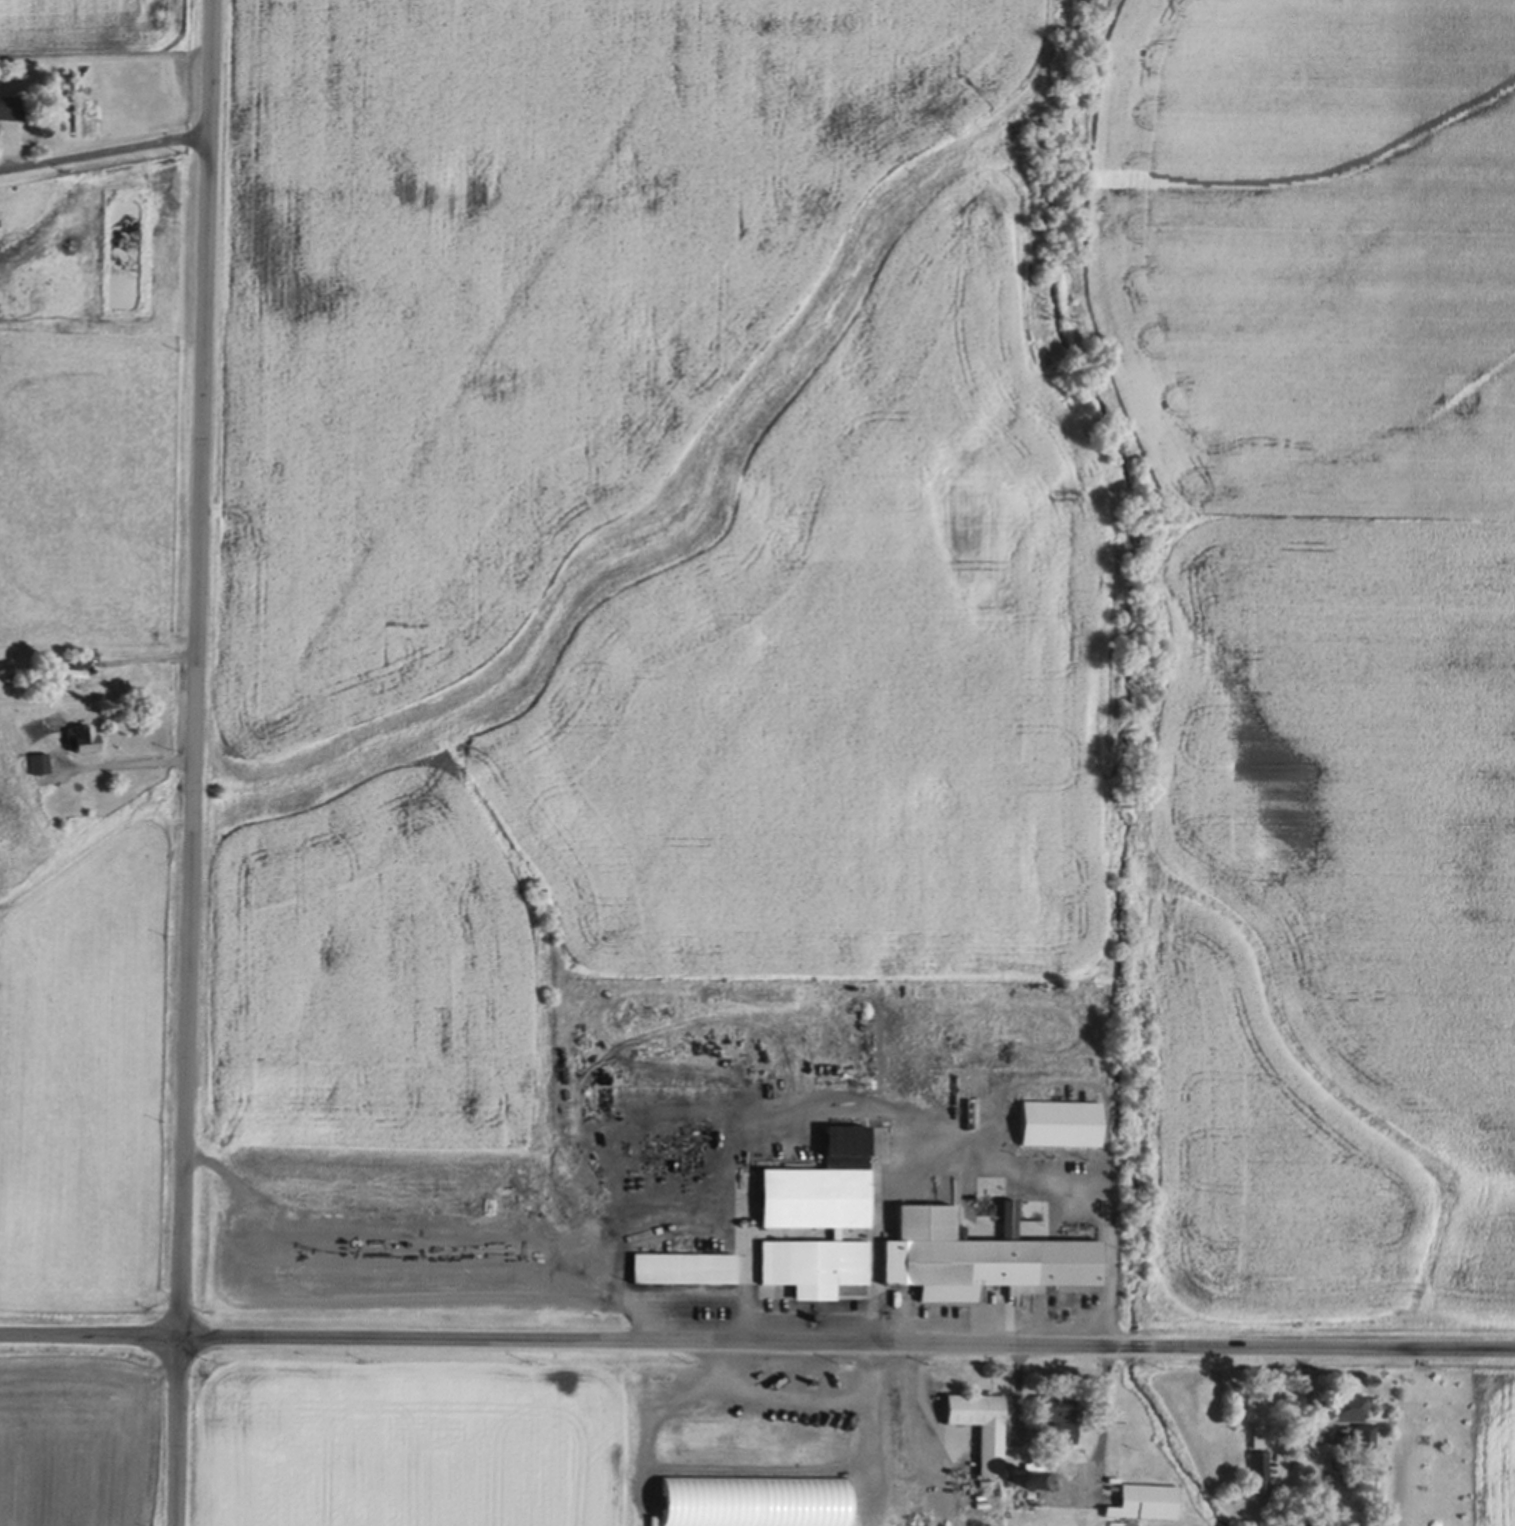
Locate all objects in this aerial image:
building: (11, 107)
road: (105, 154)
building: (80, 662)
building: (81, 740)
road: (194, 762)
building: (39, 764)
road: (731, 1123)
building: (1059, 1126)
road: (974, 1157)
building: (818, 1221)
building: (540, 1240)
road: (444, 1245)
building: (978, 1259)
building: (683, 1270)
road: (757, 1345)
building: (1345, 1412)
building: (1059, 1422)
building: (980, 1429)
building: (1363, 1438)
building: (1256, 1443)
road: (1062, 1473)
building: (1259, 1474)
building: (1031, 1480)
building: (754, 1503)
building: (1146, 1504)

